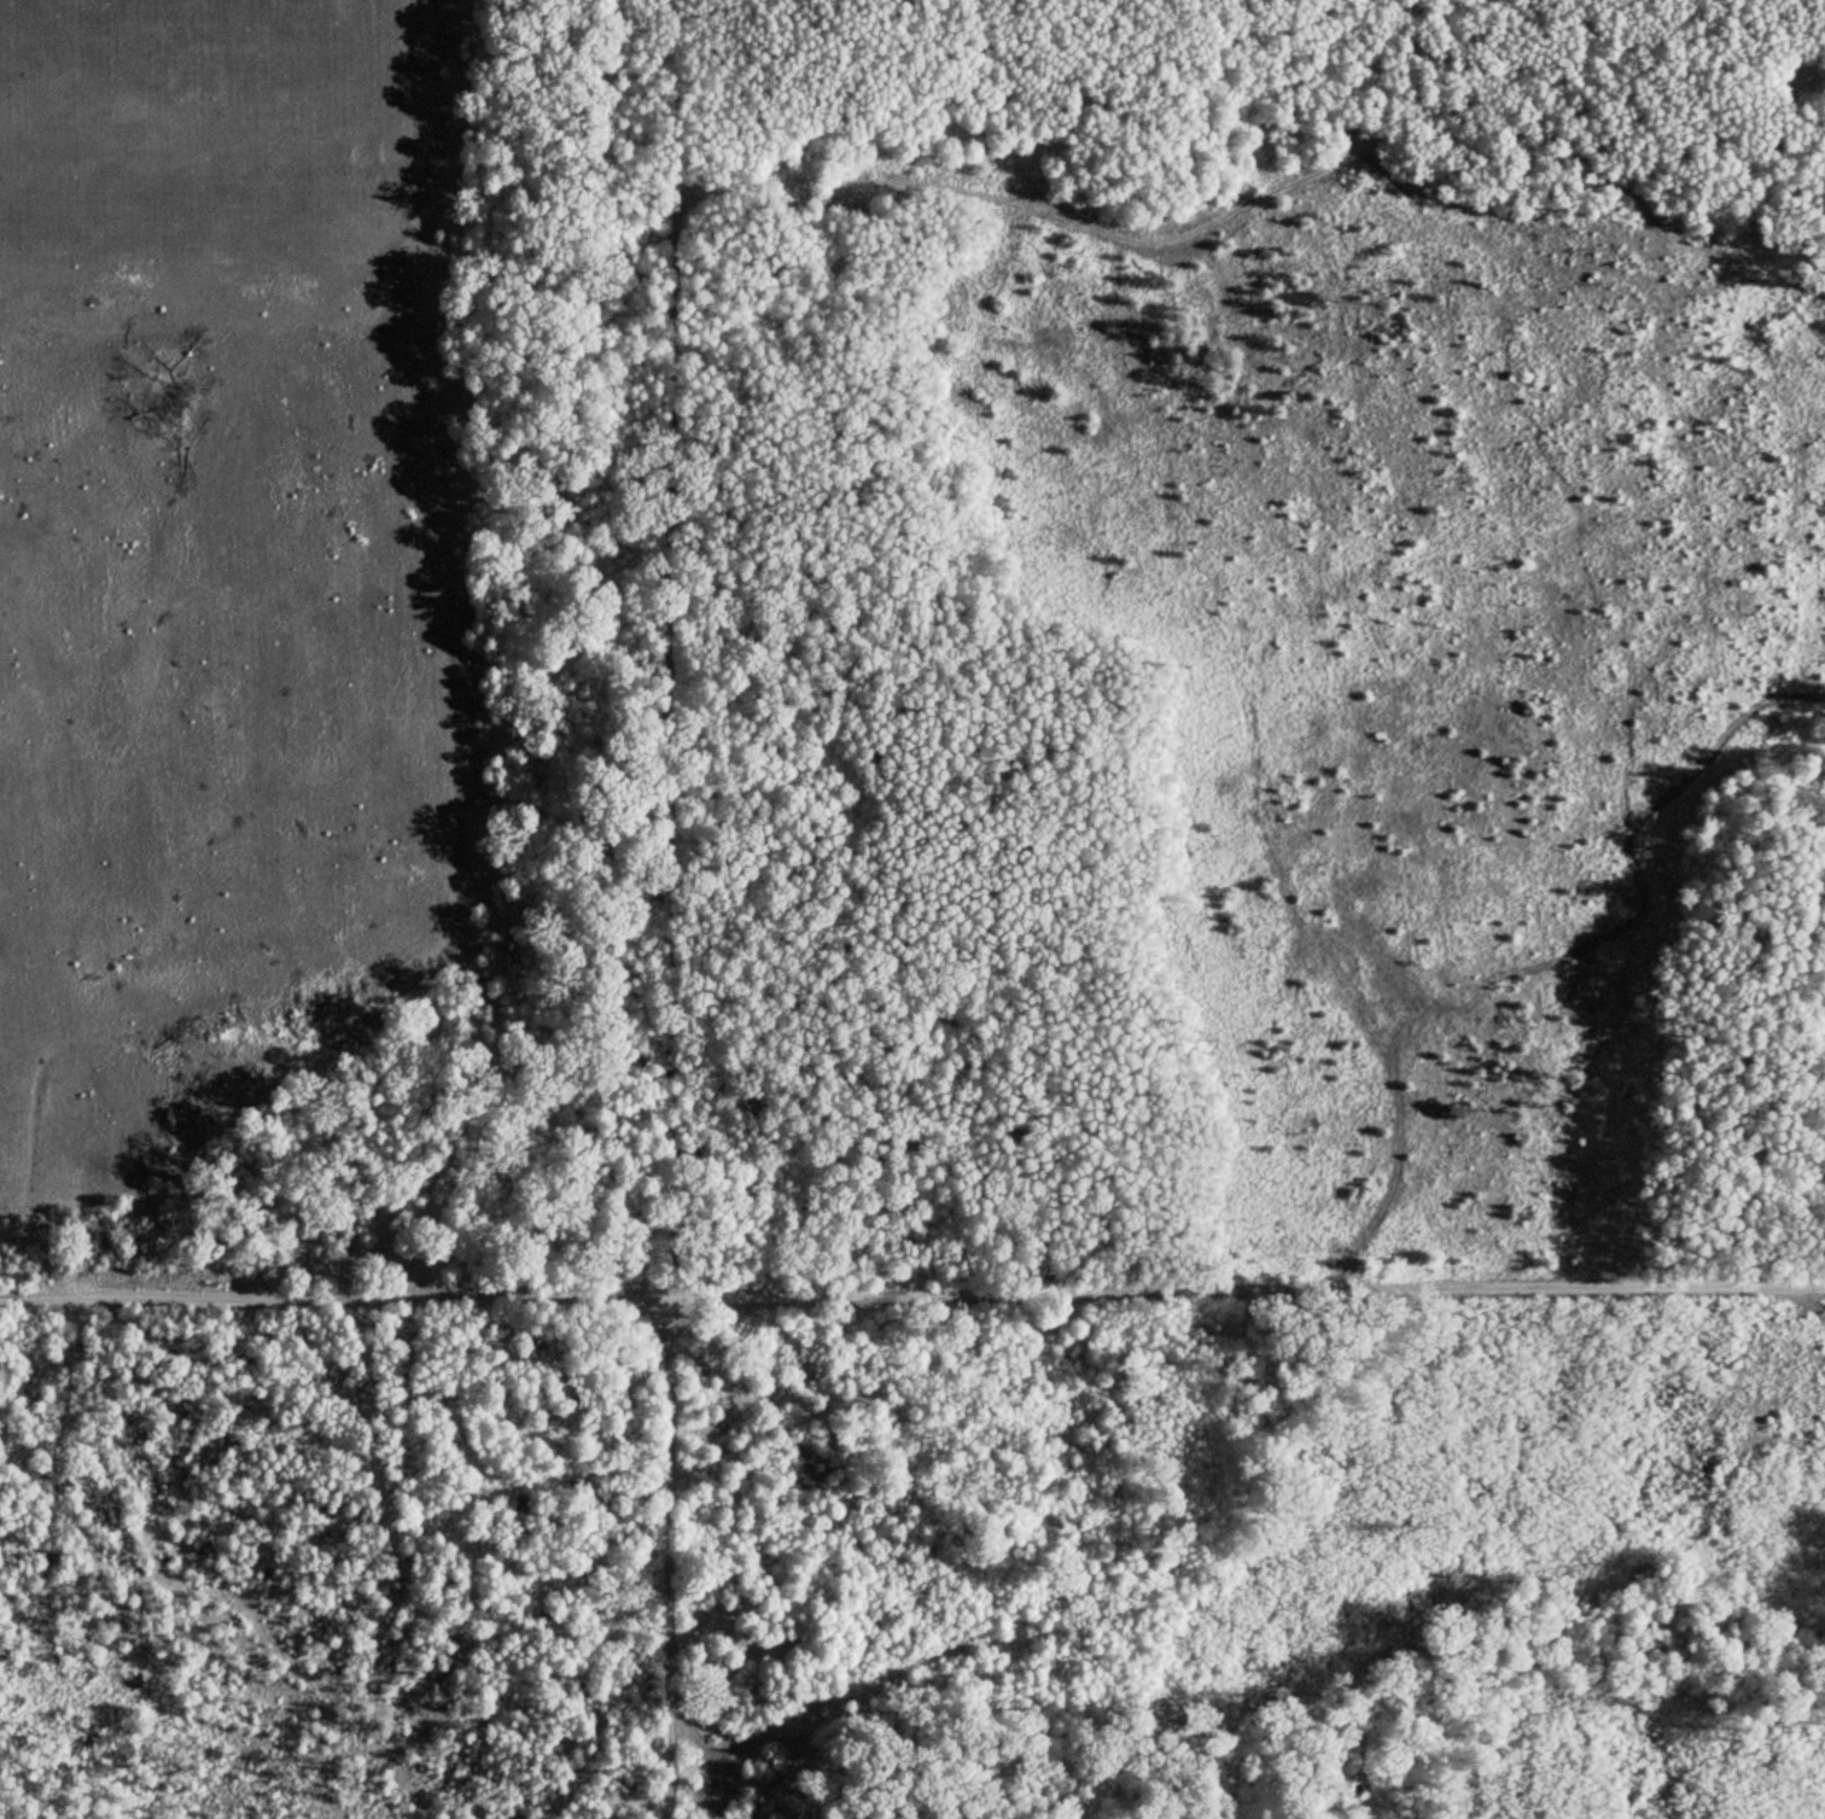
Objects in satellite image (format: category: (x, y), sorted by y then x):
road: (672, 910)
road: (913, 1295)

